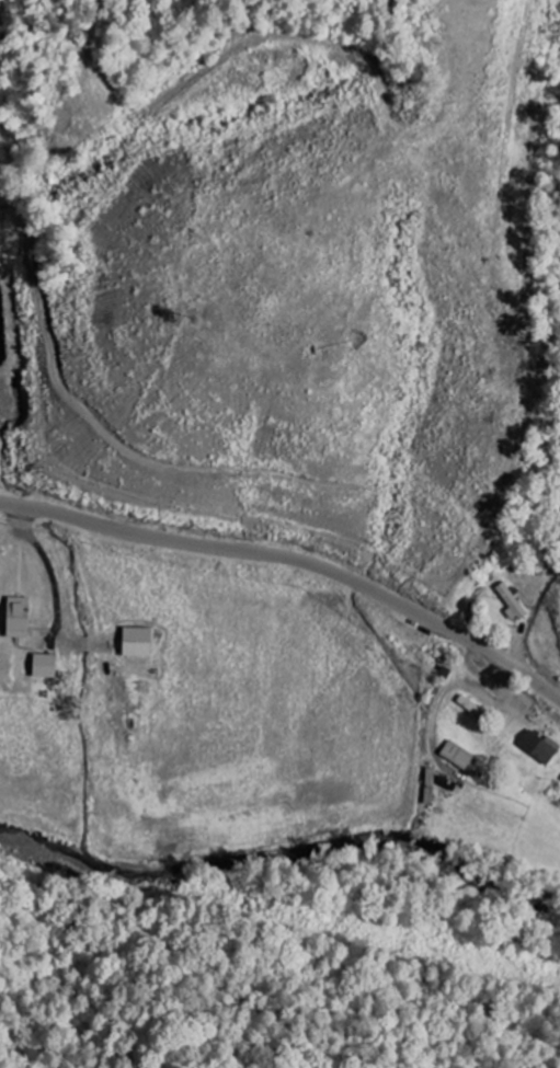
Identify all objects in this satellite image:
road: (295, 559)
building: (23, 617)
building: (142, 641)
building: (50, 666)

